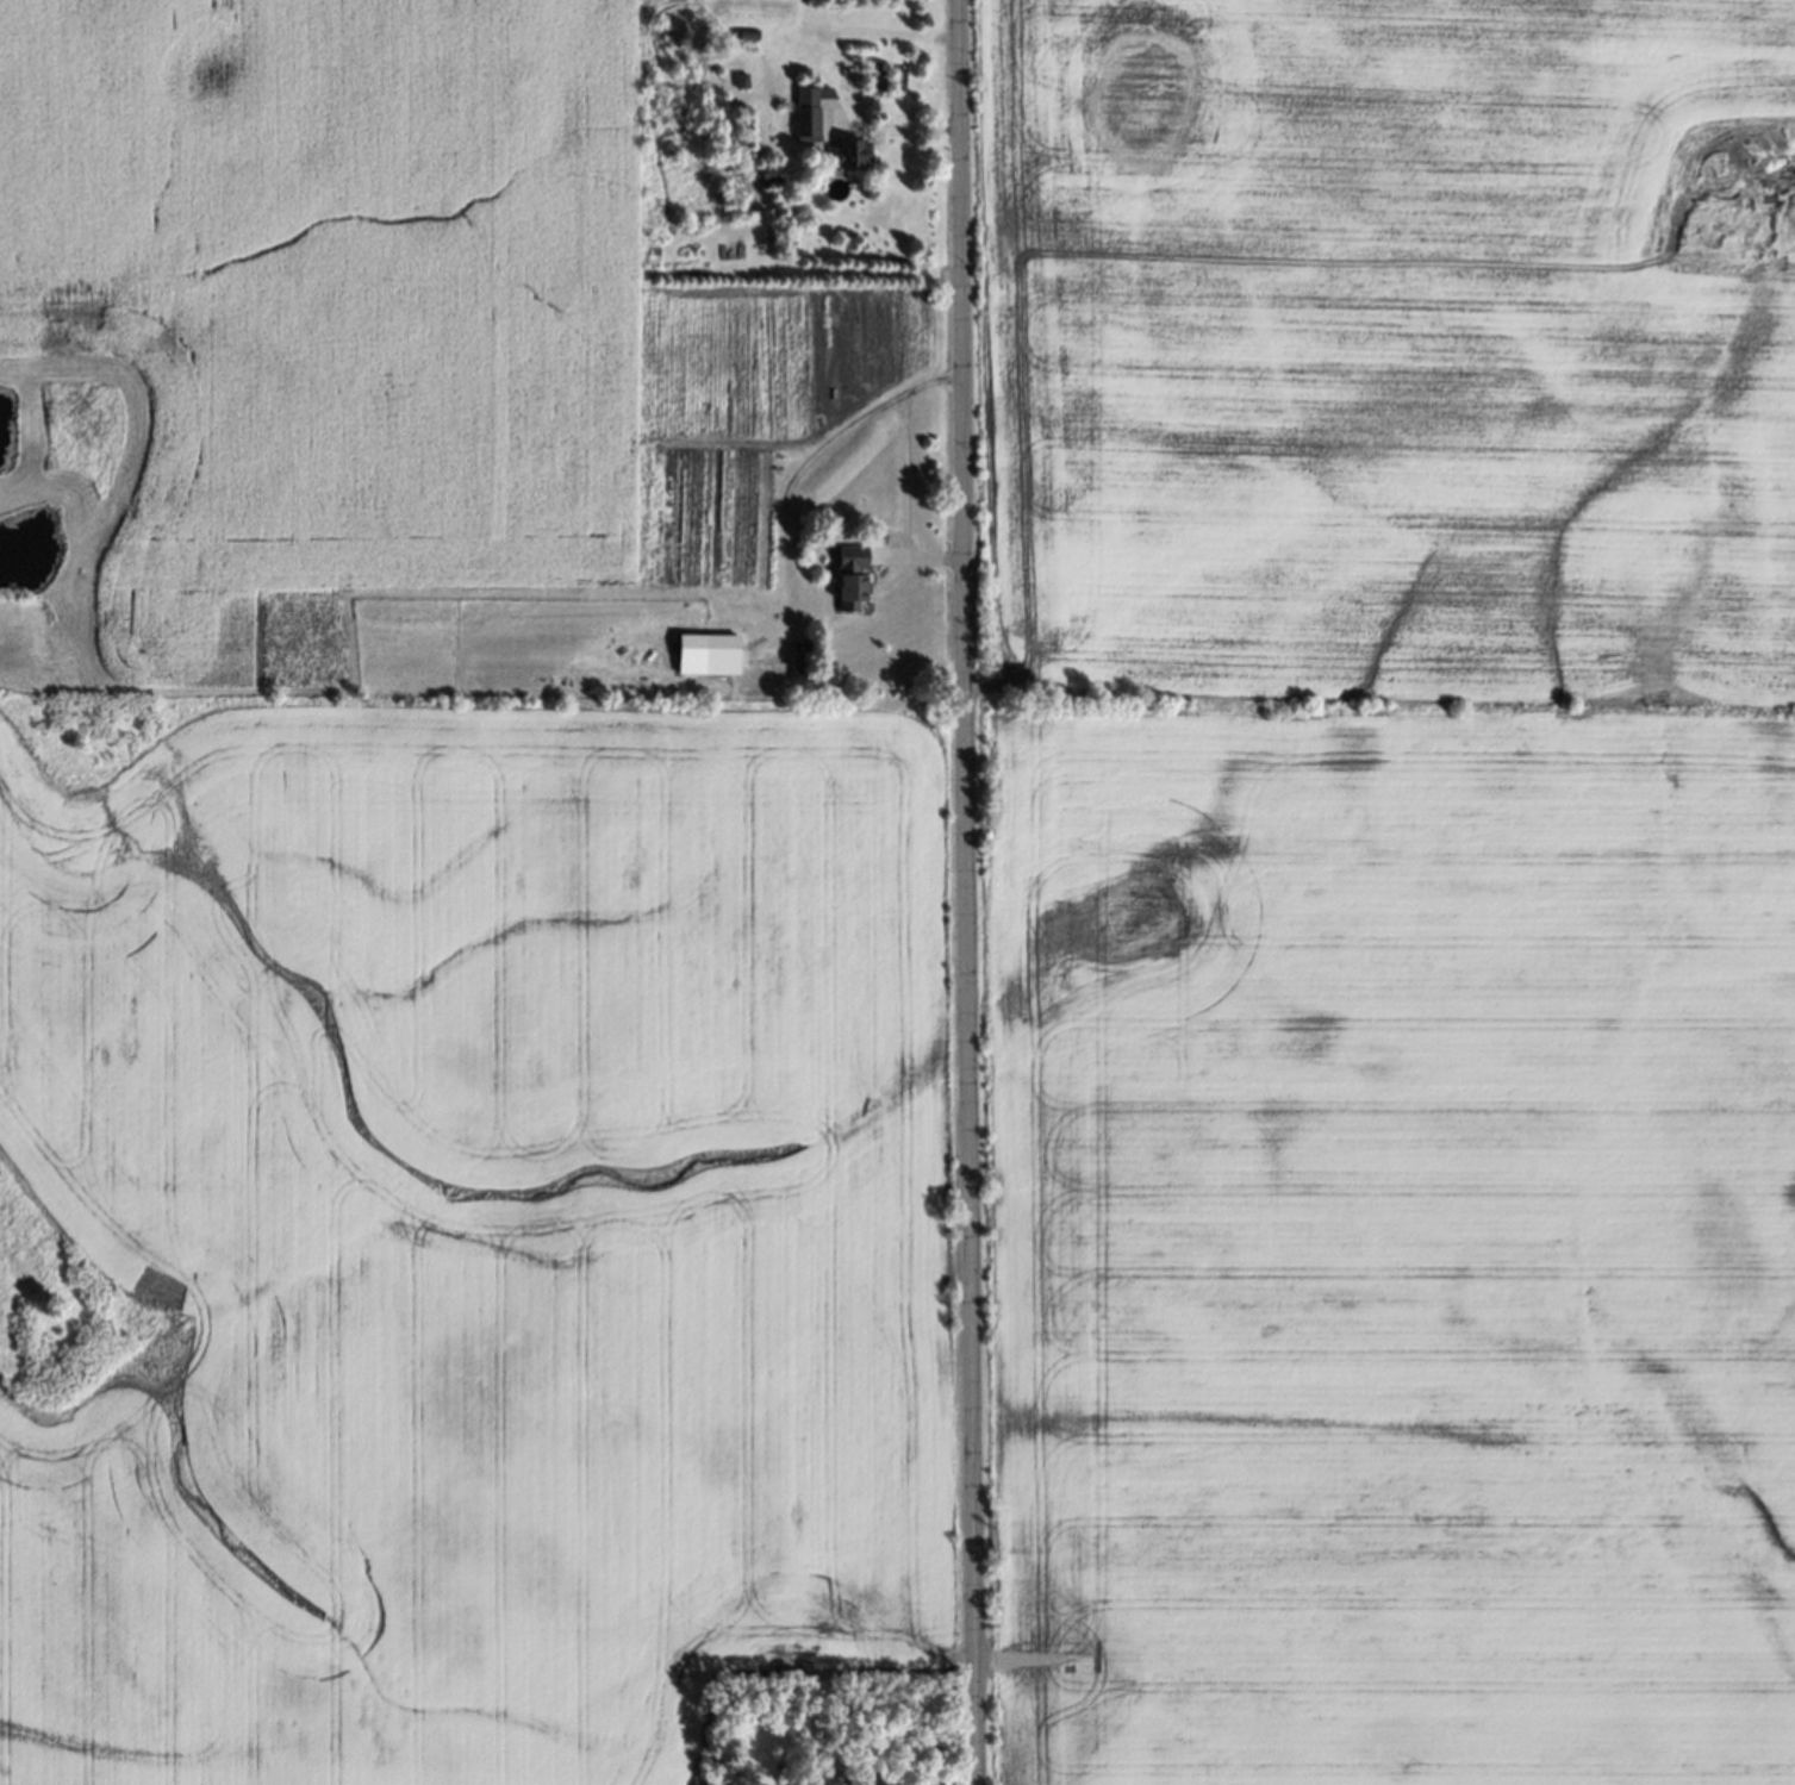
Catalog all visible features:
building: (740, 31)
building: (736, 77)
building: (802, 110)
road: (891, 131)
building: (846, 152)
building: (765, 171)
road: (903, 470)
building: (847, 575)
building: (719, 655)
building: (794, 664)
road: (966, 892)
building: (783, 1781)

